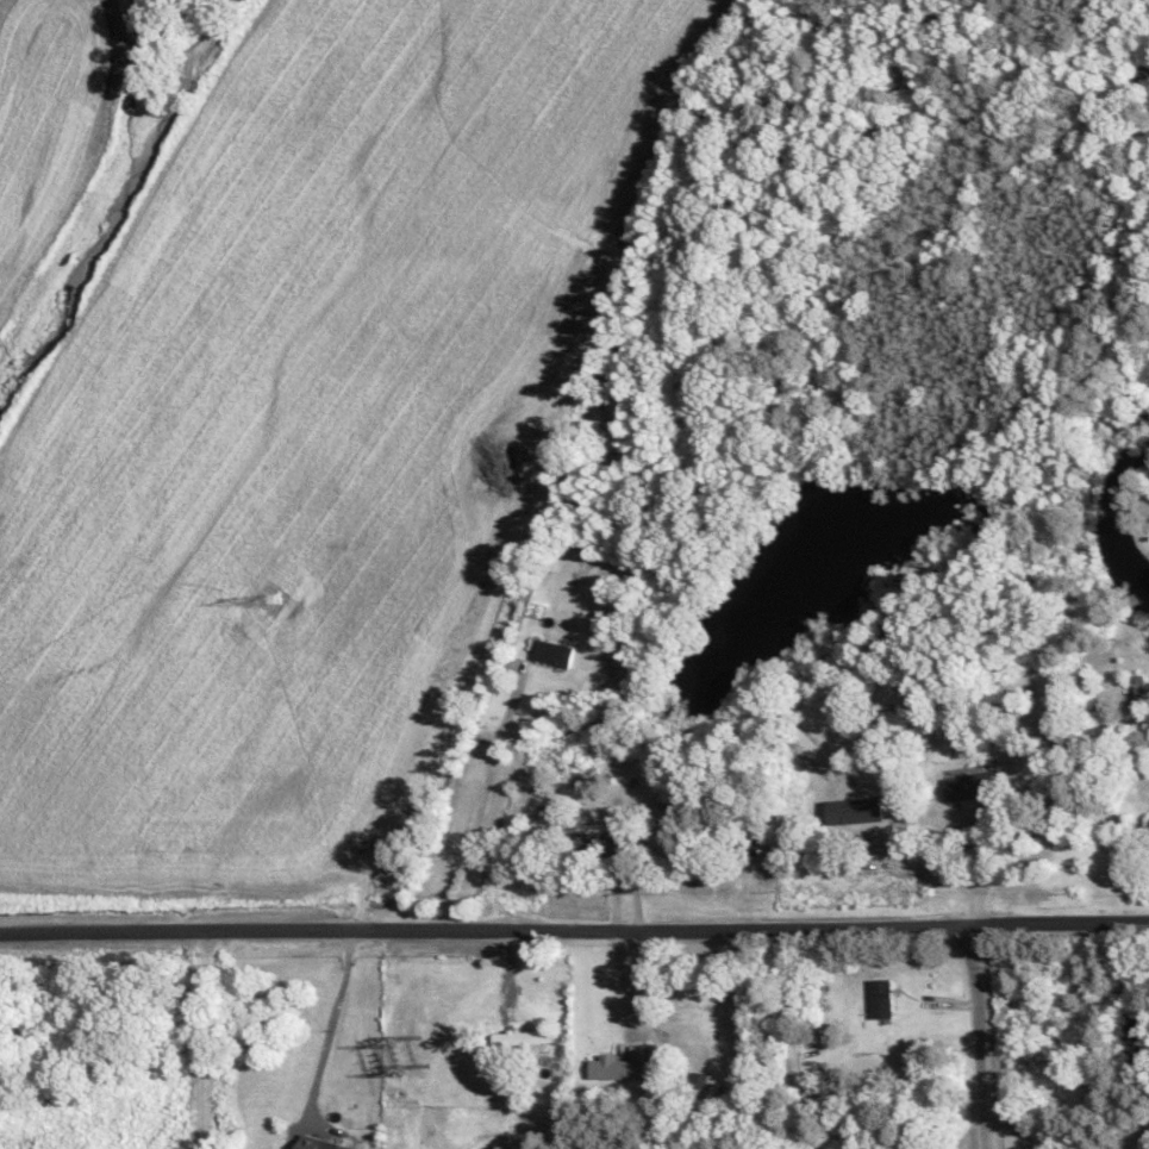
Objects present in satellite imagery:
building: (608, 411)
power tower: (266, 601)
building: (552, 651)
building: (1137, 688)
building: (970, 786)
road: (473, 797)
building: (854, 810)
building: (600, 841)
road: (981, 873)
road: (574, 926)
building: (882, 997)
road: (323, 1030)
building: (519, 1037)
road: (975, 1038)
power tower: (404, 1057)
building: (614, 1067)
building: (698, 1079)
building: (318, 1143)

